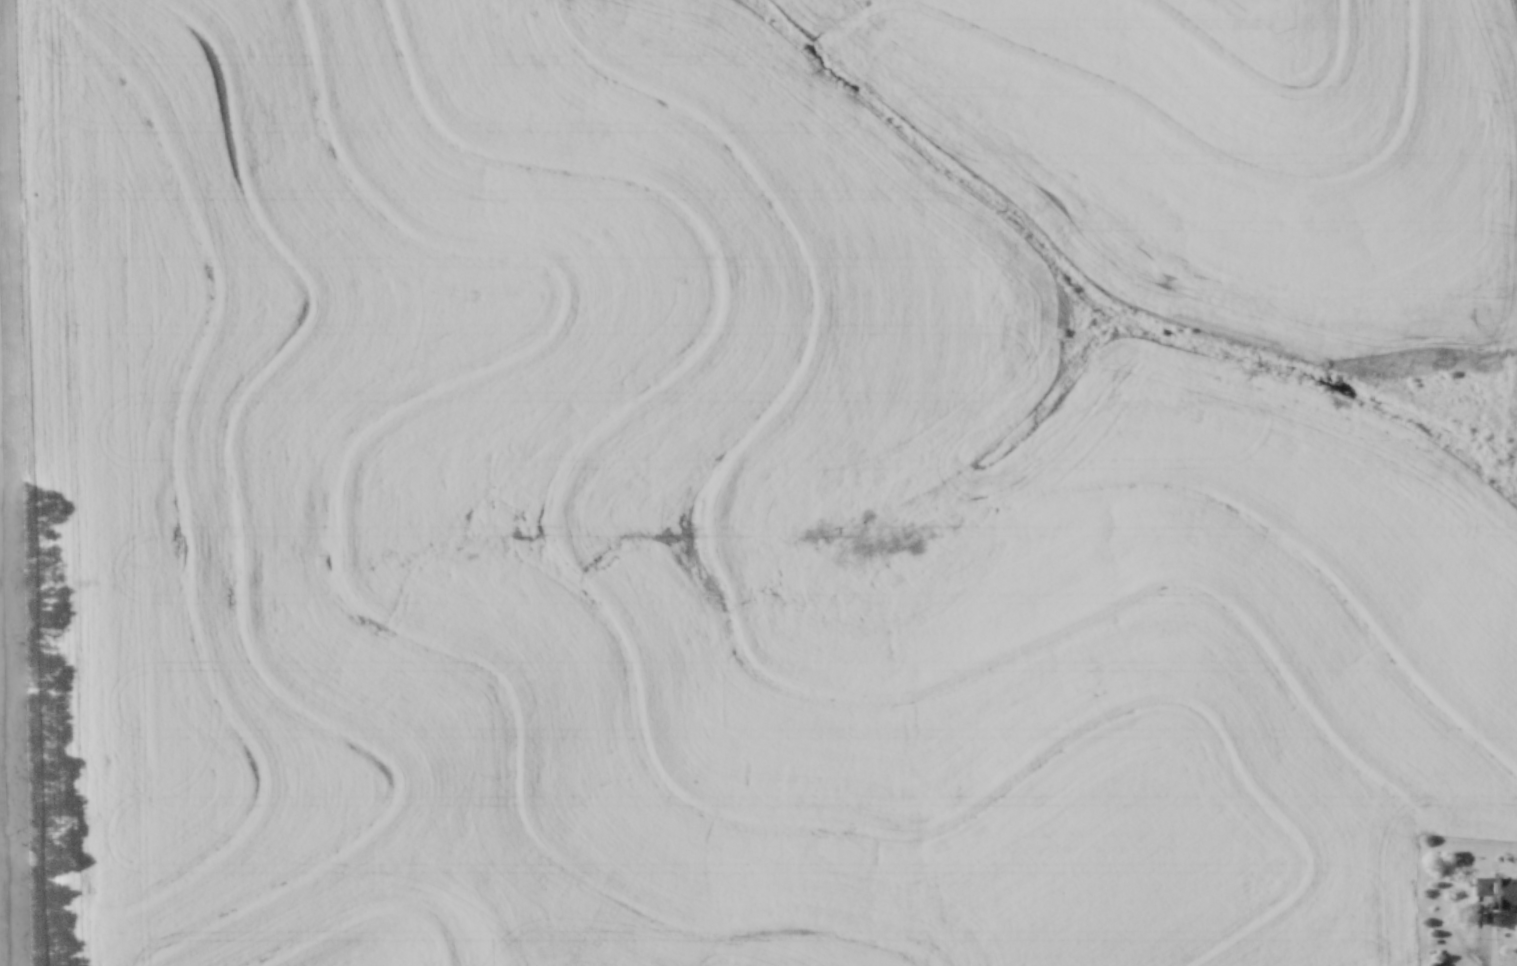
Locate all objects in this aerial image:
building: (1499, 891)
road: (1488, 935)

